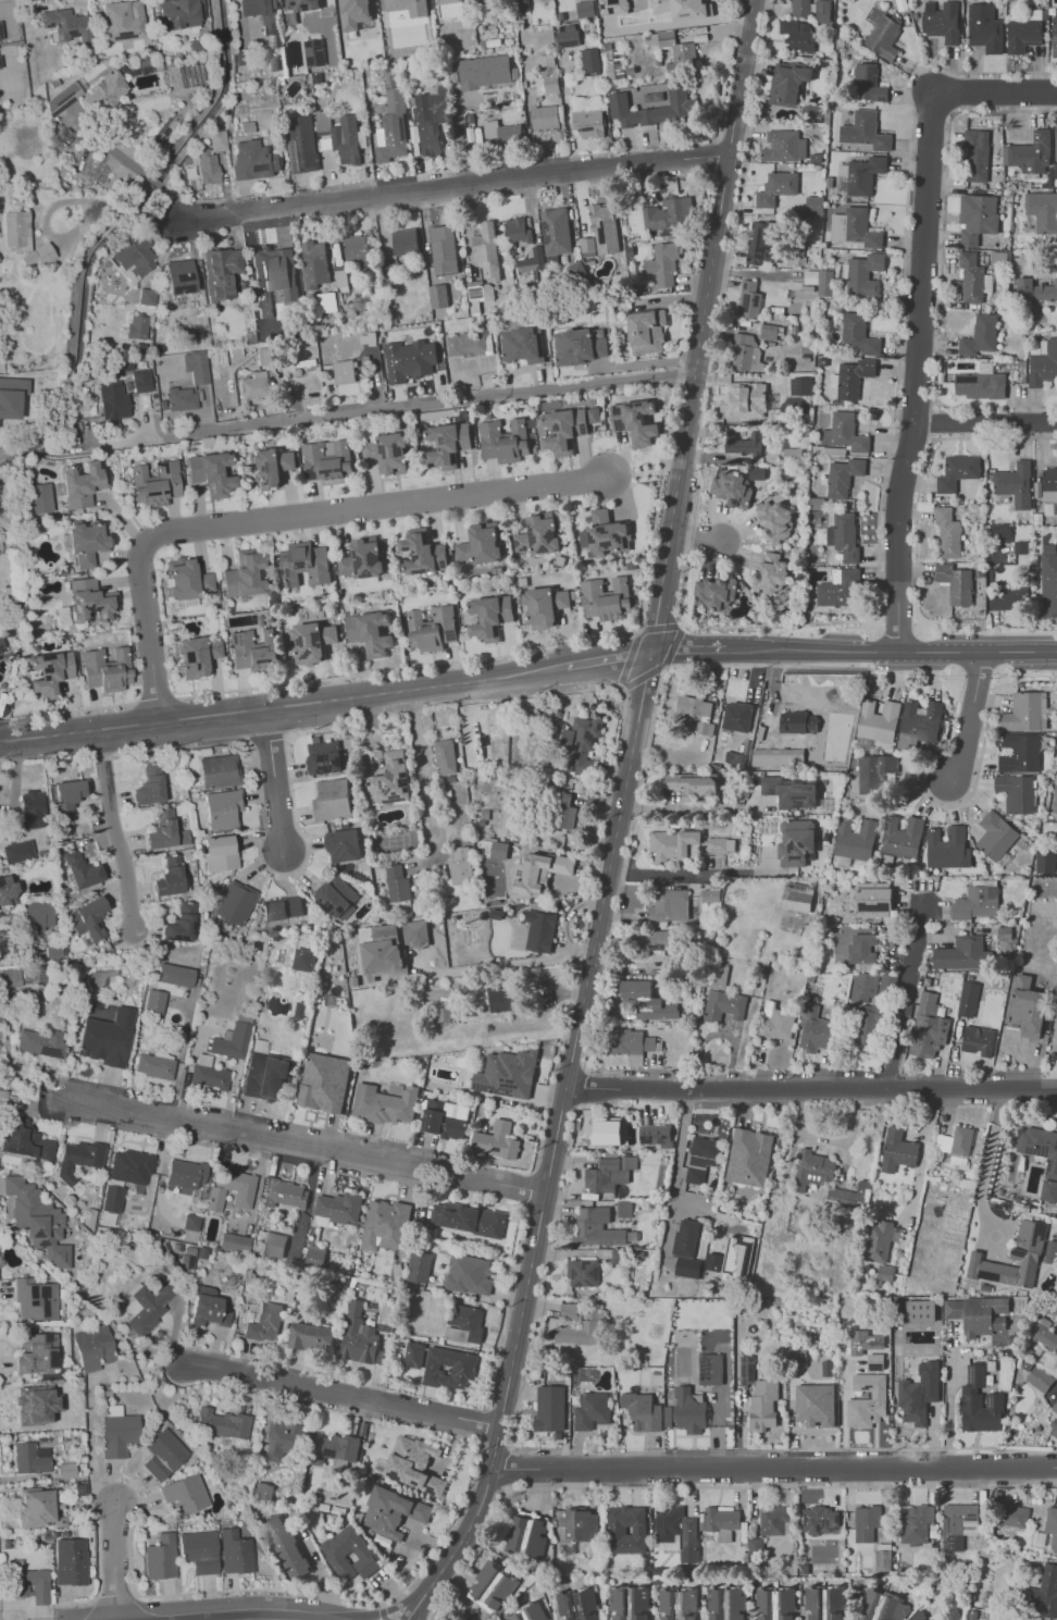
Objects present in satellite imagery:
building: (546, 0)
building: (447, 1)
building: (478, 2)
building: (327, 3)
building: (300, 4)
building: (522, 5)
building: (410, 7)
building: (613, 7)
building: (679, 8)
building: (800, 8)
building: (586, 9)
building: (822, 11)
building: (181, 13)
building: (353, 13)
building: (263, 14)
building: (124, 20)
building: (941, 21)
building: (66, 25)
building: (984, 27)
building: (370, 29)
building: (1023, 33)
building: (797, 34)
building: (0, 36)
building: (1054, 36)
building: (570, 37)
building: (883, 37)
building: (455, 42)
building: (315, 52)
building: (679, 52)
building: (547, 60)
building: (592, 61)
building: (0, 64)
road: (729, 70)
building: (485, 72)
building: (318, 78)
building: (787, 83)
building: (868, 83)
building: (552, 84)
building: (102, 92)
road: (996, 92)
building: (62, 99)
road: (567, 109)
building: (648, 109)
building: (489, 115)
building: (589, 116)
building: (432, 118)
building: (471, 118)
building: (546, 119)
building: (395, 126)
building: (247, 127)
building: (492, 128)
building: (865, 131)
building: (471, 134)
building: (511, 135)
building: (343, 136)
building: (219, 140)
building: (28, 144)
building: (303, 145)
building: (783, 146)
building: (1055, 146)
road: (108, 148)
building: (1032, 153)
building: (977, 156)
road: (713, 159)
building: (254, 161)
building: (208, 166)
building: (861, 174)
road: (157, 185)
road: (458, 186)
building: (775, 187)
road: (175, 202)
building: (813, 205)
road: (113, 206)
road: (136, 210)
building: (1043, 210)
building: (668, 213)
building: (601, 215)
building: (977, 218)
road: (163, 219)
road: (48, 225)
building: (855, 227)
building: (16, 228)
building: (519, 231)
building: (557, 232)
building: (406, 242)
building: (762, 243)
building: (357, 246)
building: (589, 246)
building: (445, 249)
building: (487, 251)
building: (277, 255)
building: (39, 256)
building: (134, 259)
building: (533, 260)
building: (664, 263)
building: (315, 264)
building: (579, 272)
building: (222, 273)
building: (389, 274)
building: (865, 274)
building: (341, 275)
building: (181, 277)
building: (973, 277)
building: (820, 281)
building: (1035, 289)
building: (481, 290)
building: (257, 294)
building: (439, 296)
building: (147, 297)
building: (749, 299)
building: (327, 301)
building: (200, 307)
road: (700, 324)
building: (137, 327)
building: (647, 332)
building: (769, 332)
building: (858, 334)
building: (980, 335)
building: (468, 344)
building: (523, 345)
building: (579, 347)
building: (746, 354)
building: (265, 356)
building: (419, 358)
building: (1043, 364)
building: (197, 367)
building: (121, 369)
road: (918, 369)
building: (345, 371)
building: (853, 378)
building: (141, 381)
building: (800, 385)
building: (980, 385)
building: (254, 387)
building: (11, 396)
building: (182, 398)
building: (744, 400)
building: (113, 401)
road: (406, 409)
building: (593, 415)
building: (634, 421)
road: (985, 423)
building: (563, 430)
building: (848, 432)
building: (825, 436)
building: (503, 441)
building: (743, 443)
building: (448, 444)
building: (387, 453)
building: (792, 456)
building: (327, 460)
building: (270, 467)
road: (643, 471)
building: (957, 472)
building: (209, 473)
building: (843, 477)
building: (154, 482)
building: (79, 484)
building: (1015, 484)
building: (735, 485)
building: (1049, 485)
building: (38, 497)
road: (284, 516)
building: (775, 521)
building: (947, 532)
building: (999, 533)
building: (538, 534)
building: (604, 534)
building: (844, 535)
road: (695, 537)
building: (85, 543)
building: (480, 544)
building: (423, 553)
building: (362, 558)
building: (304, 564)
building: (244, 574)
building: (771, 574)
building: (185, 579)
building: (1048, 580)
building: (955, 583)
building: (840, 589)
building: (716, 591)
building: (607, 598)
building: (1007, 598)
building: (87, 601)
building: (490, 616)
road: (781, 623)
building: (432, 628)
road: (981, 629)
road: (633, 631)
building: (370, 633)
road: (897, 634)
building: (312, 641)
road: (687, 645)
road: (891, 645)
building: (1, 646)
building: (252, 650)
building: (195, 656)
road: (606, 657)
road: (978, 668)
building: (105, 669)
building: (48, 672)
road: (1023, 680)
road: (622, 683)
road: (154, 701)
road: (282, 708)
road: (73, 710)
building: (696, 712)
building: (1025, 712)
road: (655, 714)
building: (737, 716)
road: (968, 716)
building: (878, 720)
building: (798, 722)
building: (920, 722)
building: (581, 742)
building: (1020, 753)
building: (445, 756)
building: (778, 756)
building: (324, 757)
building: (736, 759)
road: (427, 769)
building: (217, 771)
building: (875, 772)
building: (390, 780)
road: (275, 782)
building: (148, 786)
building: (789, 792)
building: (1017, 793)
building: (1056, 793)
building: (64, 800)
building: (332, 800)
road: (689, 806)
building: (30, 808)
building: (221, 808)
building: (562, 811)
building: (164, 831)
road: (116, 832)
building: (995, 836)
building: (901, 837)
building: (855, 839)
building: (796, 842)
building: (672, 844)
building: (718, 844)
building: (344, 845)
building: (947, 848)
building: (499, 850)
building: (17, 852)
building: (219, 853)
building: (1045, 862)
building: (460, 866)
building: (80, 870)
building: (539, 873)
road: (699, 873)
building: (167, 877)
building: (397, 883)
building: (7, 890)
building: (710, 894)
building: (337, 896)
building: (797, 896)
building: (873, 899)
building: (234, 903)
building: (975, 903)
building: (669, 904)
building: (281, 908)
building: (37, 917)
building: (86, 918)
building: (178, 924)
road: (583, 929)
building: (539, 931)
building: (655, 941)
building: (862, 951)
building: (962, 953)
building: (303, 960)
building: (174, 975)
building: (9, 977)
building: (872, 986)
road: (906, 998)
building: (968, 999)
building: (502, 1000)
building: (645, 1000)
building: (153, 1001)
building: (723, 1005)
building: (1027, 1007)
building: (775, 1022)
building: (928, 1027)
building: (865, 1029)
building: (814, 1030)
building: (1055, 1034)
building: (105, 1038)
building: (978, 1040)
building: (232, 1041)
building: (39, 1042)
building: (632, 1044)
building: (259, 1046)
building: (153, 1066)
building: (208, 1074)
building: (507, 1074)
building: (264, 1077)
building: (324, 1081)
road: (580, 1087)
road: (811, 1089)
building: (384, 1103)
building: (445, 1118)
road: (557, 1129)
building: (607, 1131)
building: (655, 1135)
road: (928, 1136)
building: (24, 1140)
building: (496, 1140)
building: (956, 1145)
road: (306, 1146)
building: (1040, 1147)
building: (897, 1150)
road: (677, 1157)
building: (749, 1157)
building: (78, 1158)
building: (700, 1158)
road: (988, 1164)
building: (129, 1166)
building: (812, 1170)
building: (185, 1173)
building: (609, 1173)
road: (527, 1188)
building: (231, 1189)
building: (1048, 1190)
building: (285, 1194)
building: (851, 1196)
building: (111, 1198)
building: (337, 1209)
building: (468, 1219)
building: (36, 1221)
building: (190, 1222)
building: (385, 1225)
building: (596, 1227)
building: (685, 1237)
building: (880, 1240)
building: (234, 1242)
building: (273, 1245)
building: (315, 1256)
building: (1018, 1257)
building: (419, 1266)
building: (687, 1267)
building: (583, 1272)
building: (884, 1272)
building: (469, 1274)
road: (544, 1277)
building: (34, 1299)
building: (147, 1306)
road: (505, 1307)
building: (207, 1308)
building: (920, 1310)
building: (569, 1311)
building: (980, 1316)
building: (264, 1323)
building: (465, 1324)
building: (581, 1330)
building: (312, 1336)
building: (1046, 1336)
building: (359, 1337)
building: (92, 1348)
building: (36, 1352)
building: (413, 1355)
building: (875, 1361)
building: (746, 1368)
building: (450, 1369)
building: (710, 1369)
building: (819, 1369)
building: (1040, 1378)
building: (919, 1393)
road: (343, 1394)
building: (867, 1400)
building: (980, 1402)
road: (949, 1403)
building: (763, 1405)
building: (816, 1405)
building: (24, 1407)
building: (549, 1408)
building: (1055, 1408)
building: (590, 1410)
building: (689, 1410)
building: (642, 1411)
building: (221, 1423)
road: (484, 1423)
building: (1054, 1429)
building: (116, 1432)
building: (284, 1439)
road: (90, 1447)
building: (335, 1448)
building: (162, 1454)
building: (29, 1458)
building: (413, 1464)
road: (505, 1467)
road: (1031, 1470)
road: (895, 1471)
road: (639, 1472)
building: (262, 1492)
building: (184, 1494)
building: (35, 1508)
building: (393, 1512)
building: (1012, 1516)
building: (773, 1519)
building: (820, 1520)
building: (722, 1522)
building: (866, 1522)
building: (916, 1523)
building: (957, 1524)
building: (577, 1526)
building: (1052, 1526)
building: (625, 1529)
building: (676, 1532)
building: (527, 1534)
building: (286, 1545)
building: (198, 1550)
road: (478, 1550)
building: (234, 1553)
building: (350, 1554)
building: (160, 1557)
building: (883, 1559)
building: (69, 1561)
road: (117, 1561)
road: (314, 1563)
building: (492, 1587)
building: (1045, 1592)
road: (113, 1597)
road: (356, 1600)
road: (75, 1603)
building: (629, 1603)
building: (824, 1603)
building: (726, 1604)
building: (775, 1604)
building: (577, 1605)
building: (677, 1605)
road: (419, 1607)
road: (423, 1607)
building: (882, 1607)
road: (393, 1608)
road: (55, 1612)
road: (382, 1612)
road: (432, 1612)
building: (917, 1617)

